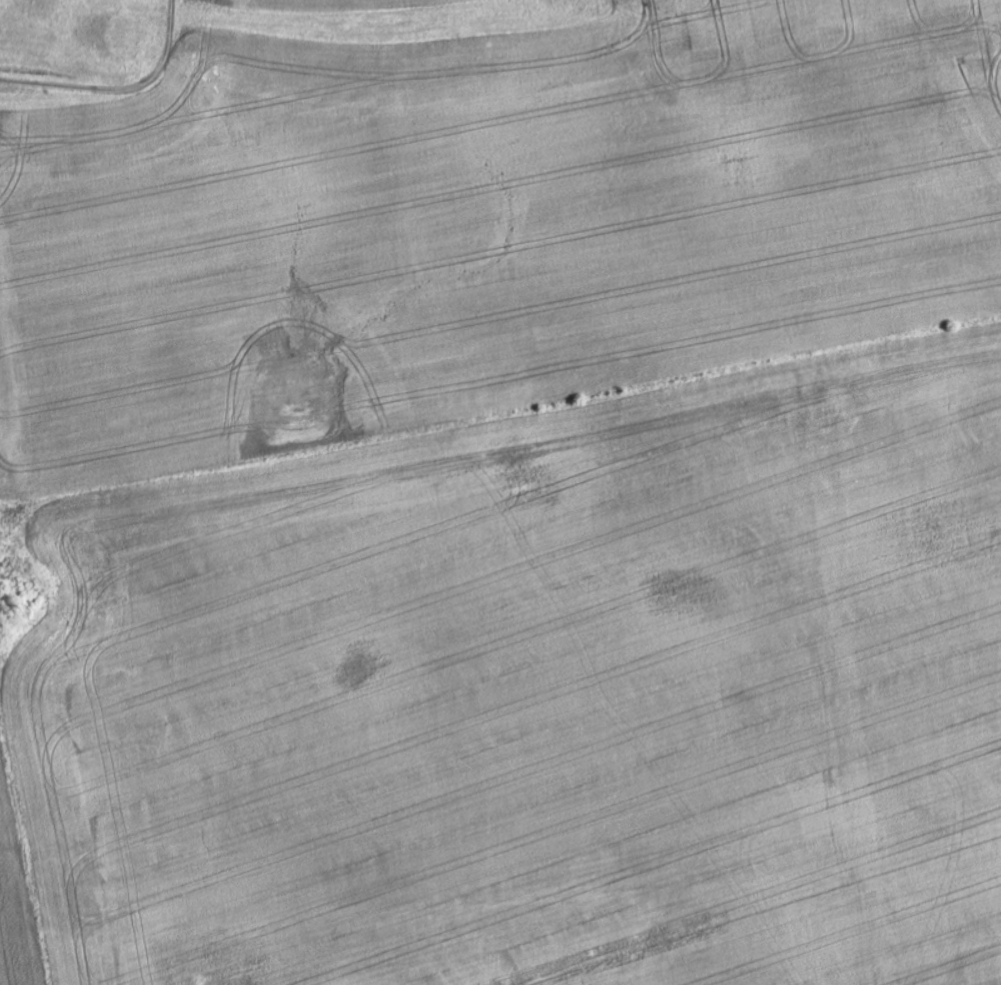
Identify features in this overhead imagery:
road: (132, 101)

